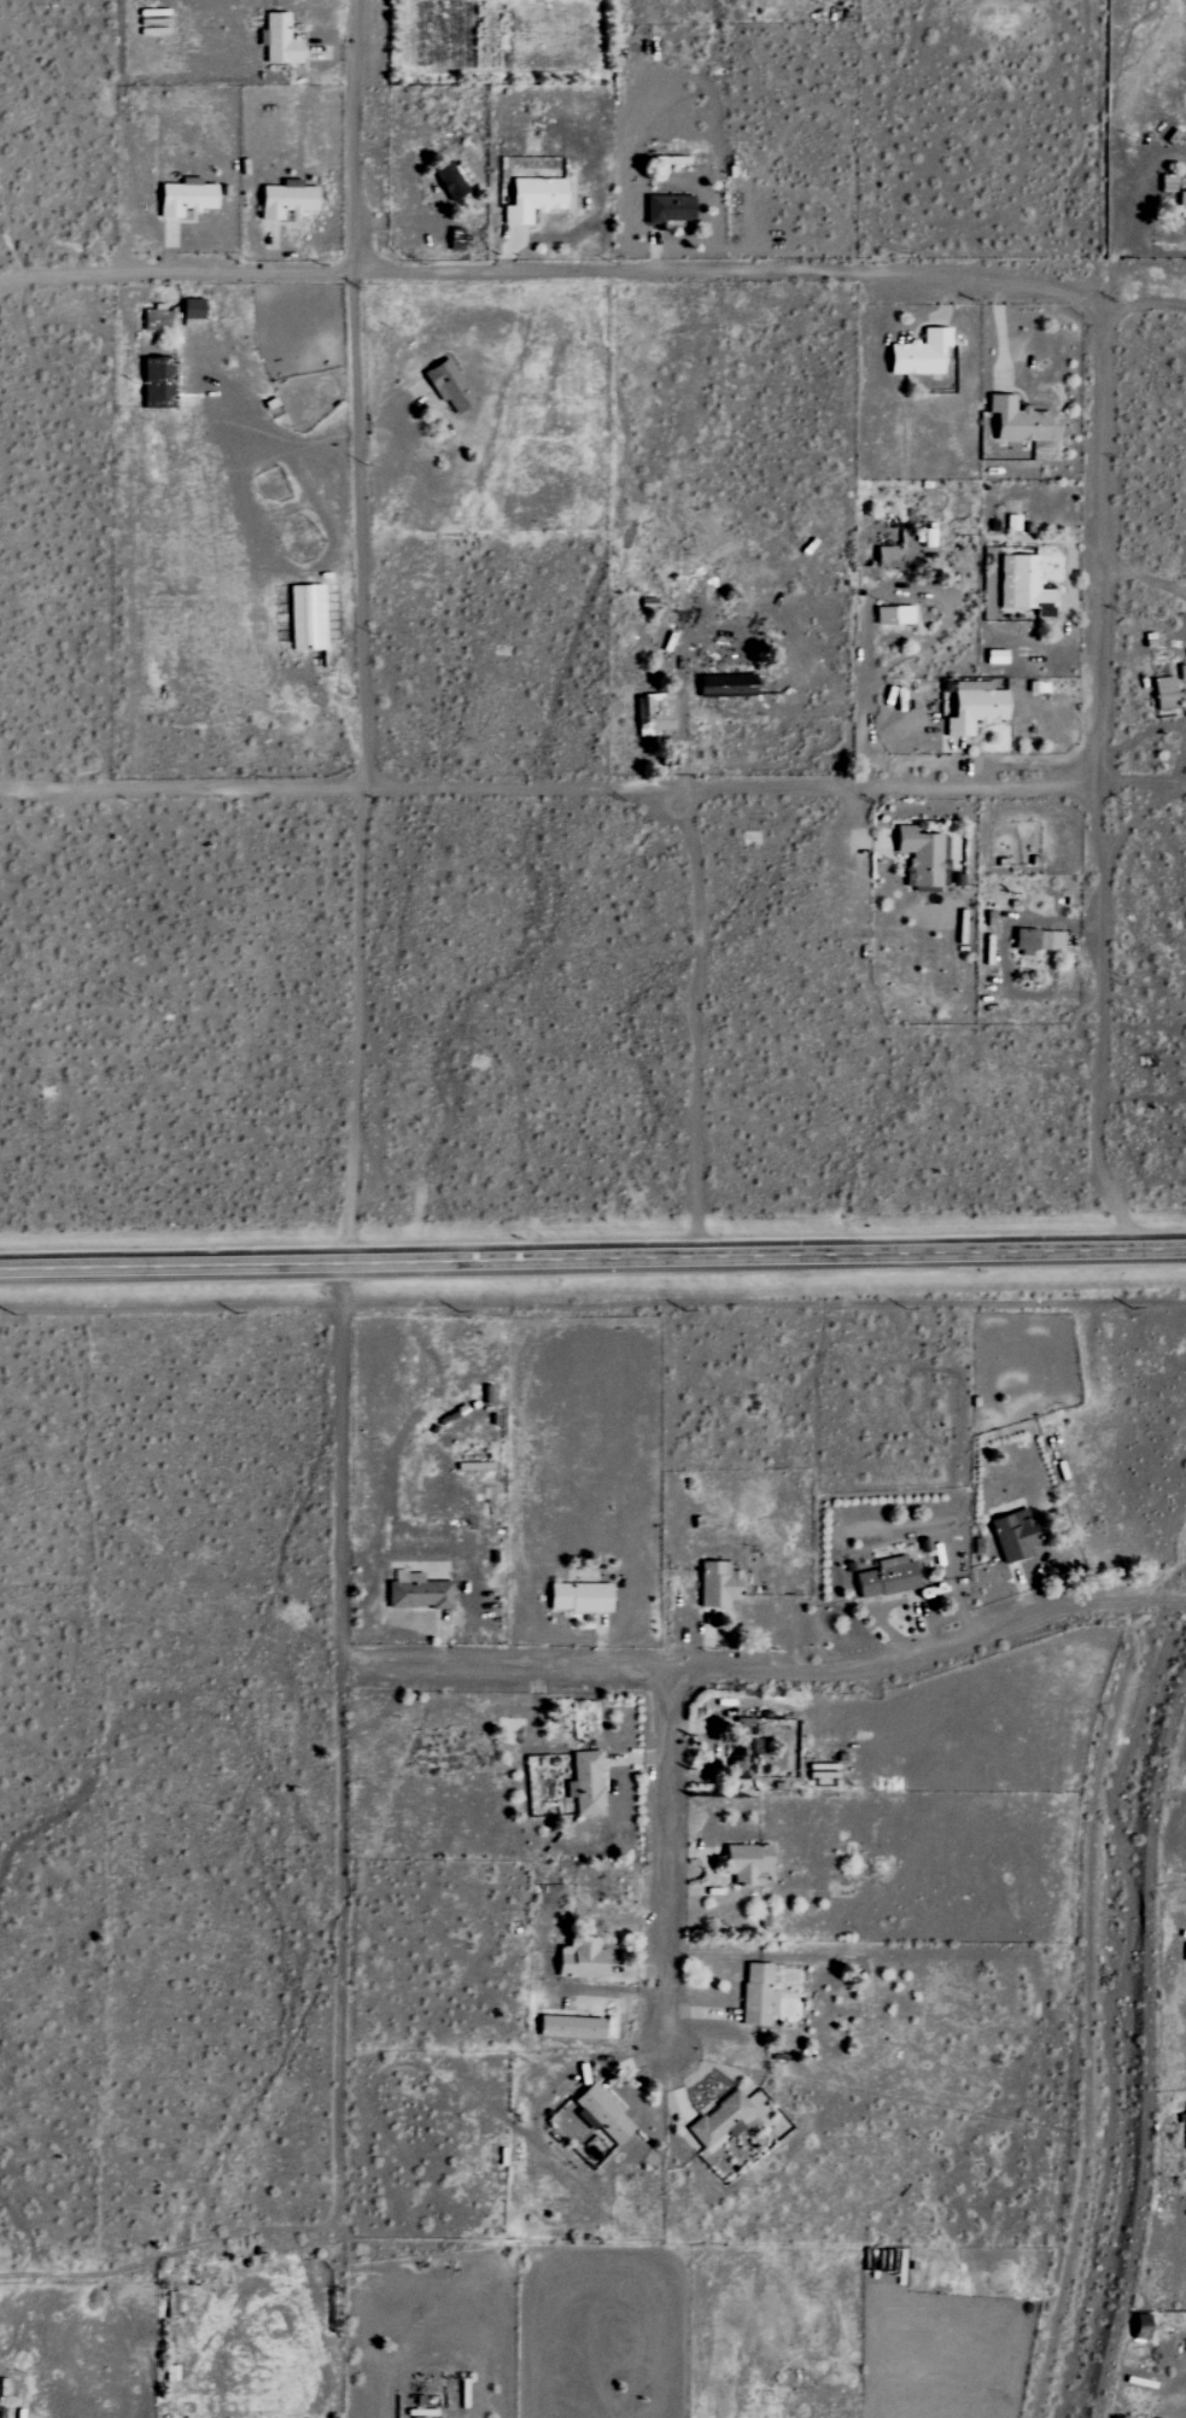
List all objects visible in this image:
building: (277, 41)
road: (337, 52)
building: (451, 180)
building: (183, 198)
building: (285, 199)
building: (531, 199)
building: (1181, 205)
building: (667, 210)
road: (391, 221)
road: (170, 249)
road: (270, 249)
road: (509, 252)
road: (654, 252)
road: (553, 274)
road: (1144, 305)
building: (191, 308)
building: (151, 319)
road: (999, 334)
building: (918, 355)
building: (156, 381)
building: (446, 385)
road: (358, 393)
road: (393, 415)
road: (249, 437)
road: (1108, 532)
building: (884, 556)
road: (1070, 562)
road: (296, 570)
road: (1146, 576)
building: (1023, 585)
building: (884, 615)
building: (305, 617)
building: (994, 655)
road: (893, 661)
building: (725, 684)
building: (1163, 696)
building: (972, 706)
building: (653, 714)
road: (594, 787)
road: (1139, 822)
building: (918, 855)
road: (859, 866)
road: (1053, 922)
building: (1036, 941)
road: (1099, 1020)
road: (364, 1024)
road: (592, 1257)
building: (1012, 1536)
building: (886, 1578)
building: (717, 1584)
building: (416, 1591)
building: (578, 1598)
road: (765, 1671)
building: (741, 1748)
building: (584, 1783)
road: (337, 1839)
road: (668, 1863)
building: (746, 1864)
road: (712, 1874)
building: (580, 1959)
building: (756, 1994)
road: (702, 2014)
building: (568, 2028)
building: (601, 2114)
building: (719, 2120)
building: (1185, 2130)
building: (170, 2306)
building: (1139, 2326)

